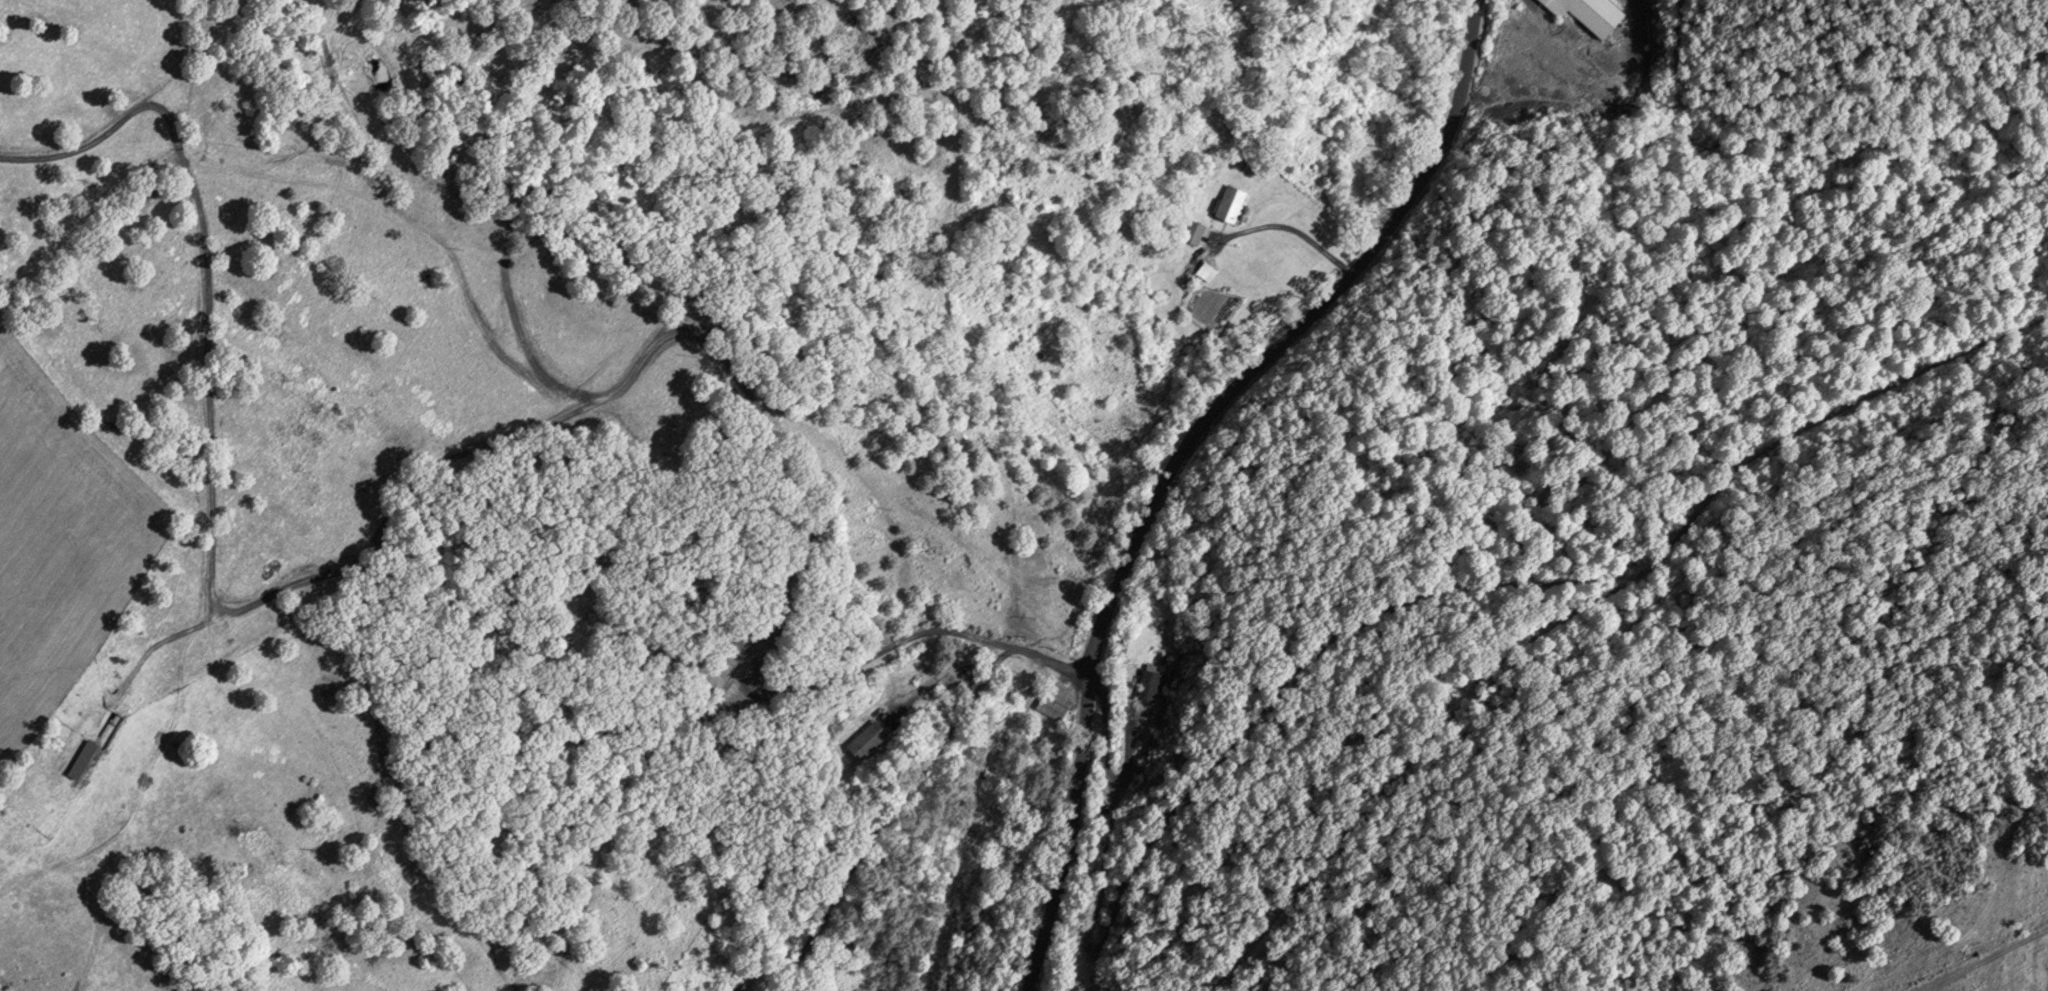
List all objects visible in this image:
building: (1591, 13)
building: (1233, 203)
building: (1194, 232)
road: (483, 439)
road: (1178, 456)
building: (1150, 683)
building: (1053, 704)
building: (868, 739)
building: (83, 760)

